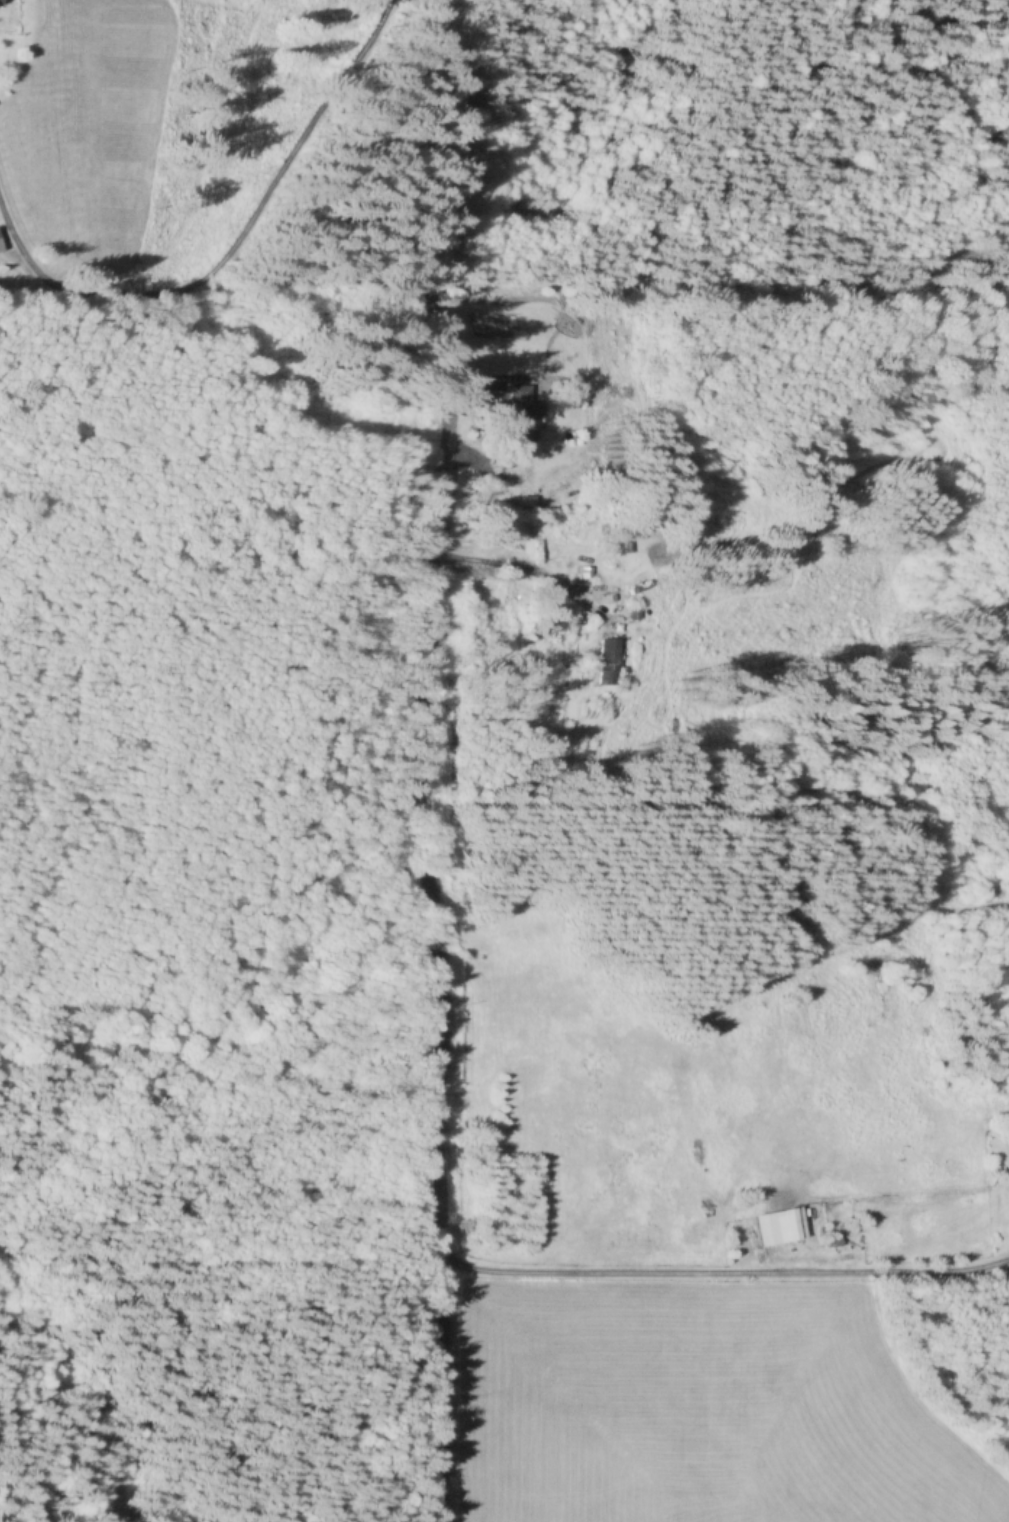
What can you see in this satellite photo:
building: (0, 252)
building: (522, 416)
building: (634, 612)
building: (554, 627)
building: (608, 662)
road: (443, 761)
building: (777, 1226)
road: (724, 1269)

